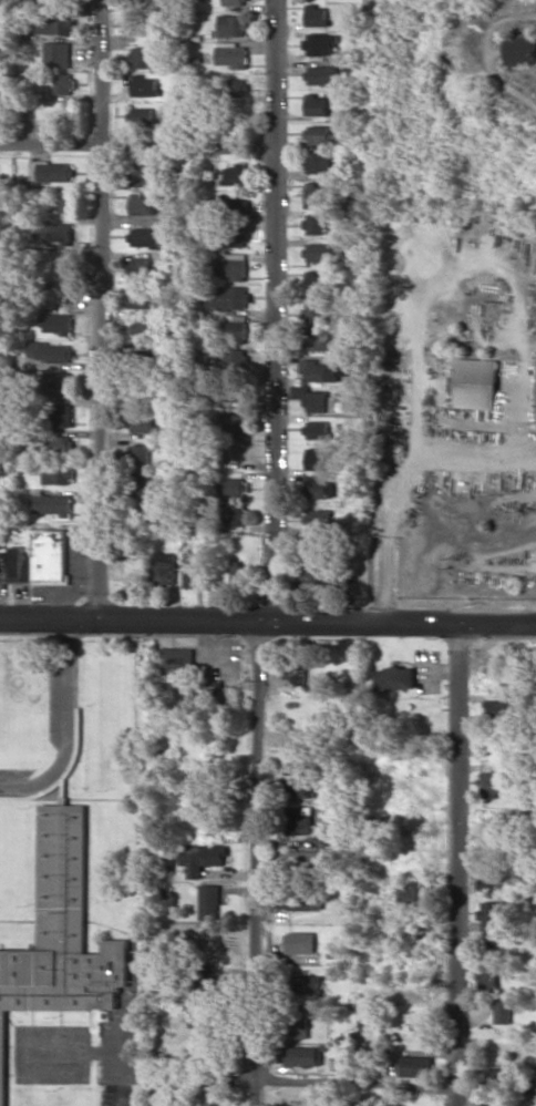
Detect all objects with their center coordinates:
building: (47, 0)
building: (236, 2)
building: (150, 3)
building: (317, 14)
building: (55, 22)
building: (141, 23)
building: (235, 24)
building: (321, 43)
building: (520, 49)
building: (58, 54)
building: (233, 54)
building: (142, 57)
road: (492, 68)
building: (324, 74)
building: (63, 82)
building: (144, 85)
building: (238, 86)
building: (317, 104)
building: (142, 115)
building: (319, 134)
road: (137, 144)
building: (318, 162)
building: (52, 171)
building: (145, 174)
building: (236, 174)
building: (319, 193)
building: (61, 201)
building: (238, 202)
building: (141, 203)
building: (315, 223)
building: (59, 233)
building: (235, 236)
building: (153, 237)
building: (321, 252)
building: (141, 264)
building: (231, 265)
building: (316, 280)
building: (230, 297)
building: (140, 299)
building: (316, 313)
road: (103, 314)
road: (272, 314)
building: (56, 322)
building: (142, 329)
building: (235, 330)
building: (317, 340)
building: (50, 351)
building: (147, 358)
building: (235, 359)
building: (322, 370)
building: (58, 381)
building: (474, 382)
building: (315, 400)
building: (62, 414)
building: (142, 422)
building: (235, 423)
building: (317, 429)
building: (61, 443)
building: (140, 454)
building: (315, 459)
building: (58, 473)
building: (143, 484)
building: (234, 487)
building: (317, 489)
building: (51, 503)
building: (230, 514)
building: (316, 519)
building: (49, 556)
building: (19, 563)
building: (164, 567)
building: (189, 569)
building: (239, 573)
building: (307, 574)
road: (267, 628)
building: (174, 658)
building: (395, 678)
building: (499, 708)
road: (70, 730)
building: (297, 747)
building: (300, 768)
building: (494, 782)
building: (302, 786)
building: (301, 819)
building: (202, 858)
building: (305, 861)
road: (255, 867)
road: (460, 867)
building: (491, 879)
building: (412, 893)
building: (302, 900)
building: (210, 901)
building: (492, 915)
building: (61, 936)
building: (300, 942)
building: (487, 981)
building: (305, 985)
building: (203, 986)
building: (502, 1011)
building: (297, 1024)
building: (301, 1055)
building: (414, 1065)
building: (495, 1076)
road: (266, 1078)

